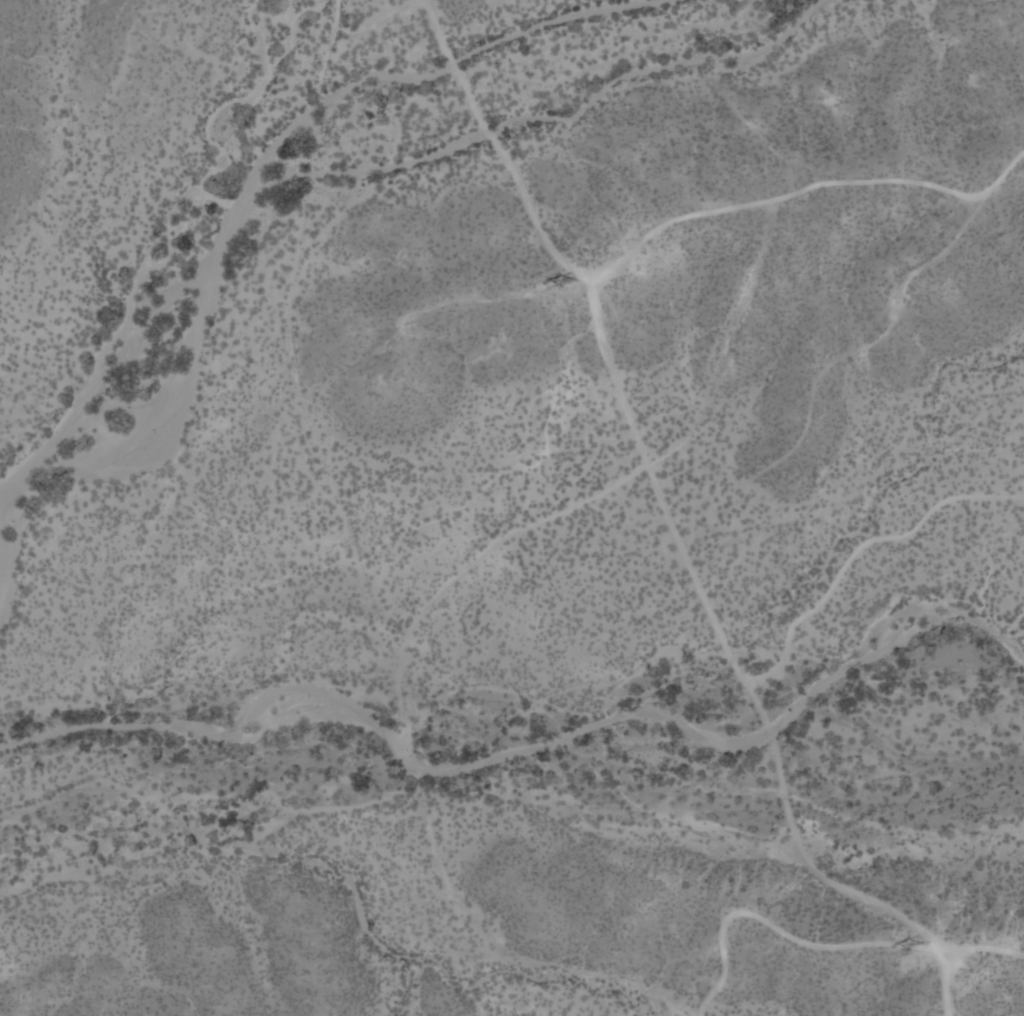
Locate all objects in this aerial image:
power tower: (570, 283)
road: (606, 354)
road: (858, 546)
road: (844, 885)
road: (817, 942)
power tower: (918, 943)

